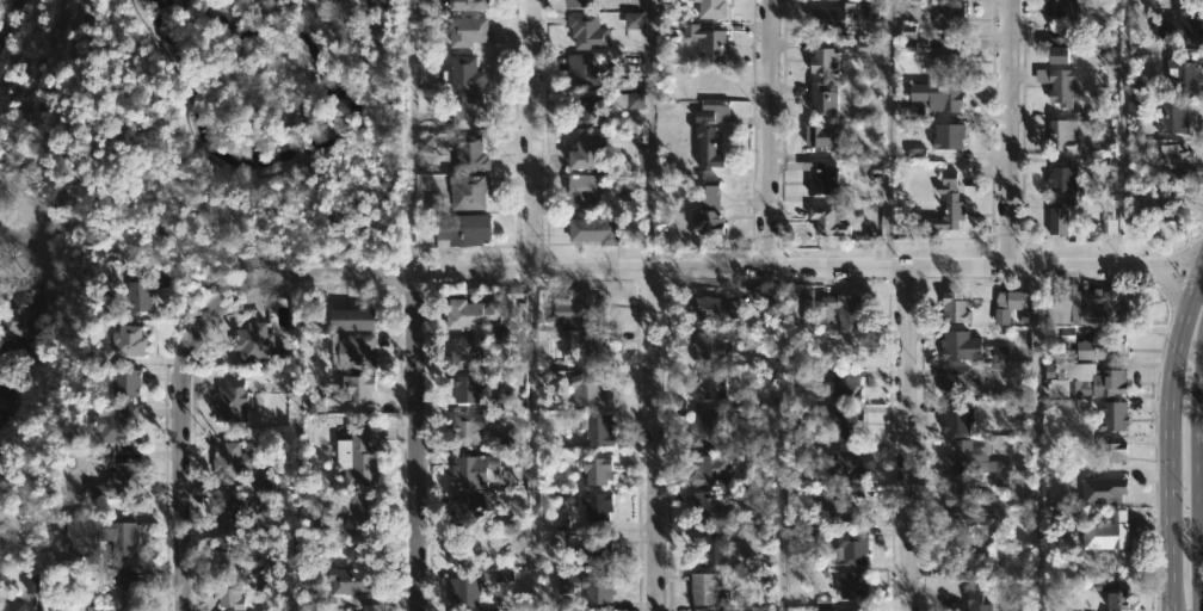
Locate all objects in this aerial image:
building: (467, 2)
building: (574, 2)
building: (345, 5)
building: (712, 7)
building: (1060, 10)
building: (949, 17)
building: (828, 18)
building: (634, 20)
building: (1172, 26)
building: (581, 27)
building: (1187, 27)
building: (459, 30)
building: (709, 41)
building: (1061, 48)
building: (822, 60)
building: (950, 63)
building: (587, 69)
building: (1179, 72)
building: (462, 74)
building: (1057, 84)
building: (932, 98)
building: (823, 99)
building: (633, 100)
building: (1136, 107)
building: (580, 112)
building: (469, 113)
building: (1172, 116)
road: (771, 131)
building: (708, 132)
road: (888, 132)
building: (1065, 132)
road: (1012, 134)
road: (1125, 134)
road: (529, 135)
road: (646, 135)
building: (821, 135)
building: (948, 136)
building: (432, 141)
building: (586, 153)
building: (469, 154)
building: (1173, 161)
railway: (272, 175)
building: (822, 175)
building: (1060, 178)
building: (584, 187)
building: (465, 191)
building: (948, 199)
building: (1161, 205)
building: (709, 210)
building: (1059, 217)
building: (827, 221)
building: (458, 229)
building: (593, 229)
road: (5, 240)
road: (1201, 261)
traffic signals: (1199, 266)
road: (1201, 266)
road: (705, 267)
road: (1171, 288)
building: (140, 297)
building: (1011, 300)
building: (113, 303)
building: (1082, 305)
building: (840, 307)
building: (710, 308)
building: (952, 308)
building: (579, 309)
building: (17, 311)
building: (465, 313)
building: (1001, 316)
building: (348, 319)
building: (115, 341)
building: (131, 341)
building: (251, 341)
building: (596, 344)
building: (958, 345)
building: (1096, 347)
building: (710, 348)
building: (11, 351)
building: (350, 352)
building: (463, 353)
building: (997, 353)
building: (955, 377)
building: (1081, 381)
building: (115, 383)
building: (708, 384)
building: (845, 384)
building: (463, 387)
building: (354, 388)
building: (4, 390)
building: (588, 393)
building: (229, 400)
building: (507, 400)
building: (956, 415)
building: (1112, 415)
building: (106, 424)
building: (467, 427)
building: (846, 427)
building: (598, 428)
building: (703, 433)
road: (1168, 436)
road: (777, 438)
road: (908, 438)
road: (1035, 439)
road: (418, 440)
road: (533, 440)
road: (654, 440)
road: (296, 443)
road: (179, 449)
building: (964, 451)
building: (354, 452)
building: (1109, 452)
building: (224, 462)
building: (1000, 464)
building: (844, 467)
building: (710, 468)
building: (594, 470)
building: (475, 471)
building: (106, 475)
building: (1001, 480)
road: (1197, 482)
building: (264, 483)
building: (962, 490)
building: (1104, 490)
building: (359, 506)
building: (597, 506)
building: (840, 507)
building: (712, 508)
building: (469, 510)
building: (230, 516)
building: (967, 521)
building: (1106, 532)
building: (84, 535)
building: (125, 536)
building: (710, 548)
building: (852, 549)
building: (227, 550)
building: (594, 550)
building: (470, 551)
building: (968, 566)
building: (504, 576)
building: (344, 578)
building: (121, 581)
building: (586, 586)
building: (850, 586)
building: (705, 588)
building: (464, 592)
building: (224, 595)
building: (1116, 597)
building: (974, 601)
building: (313, 603)
building: (7, 607)
building: (107, 609)

